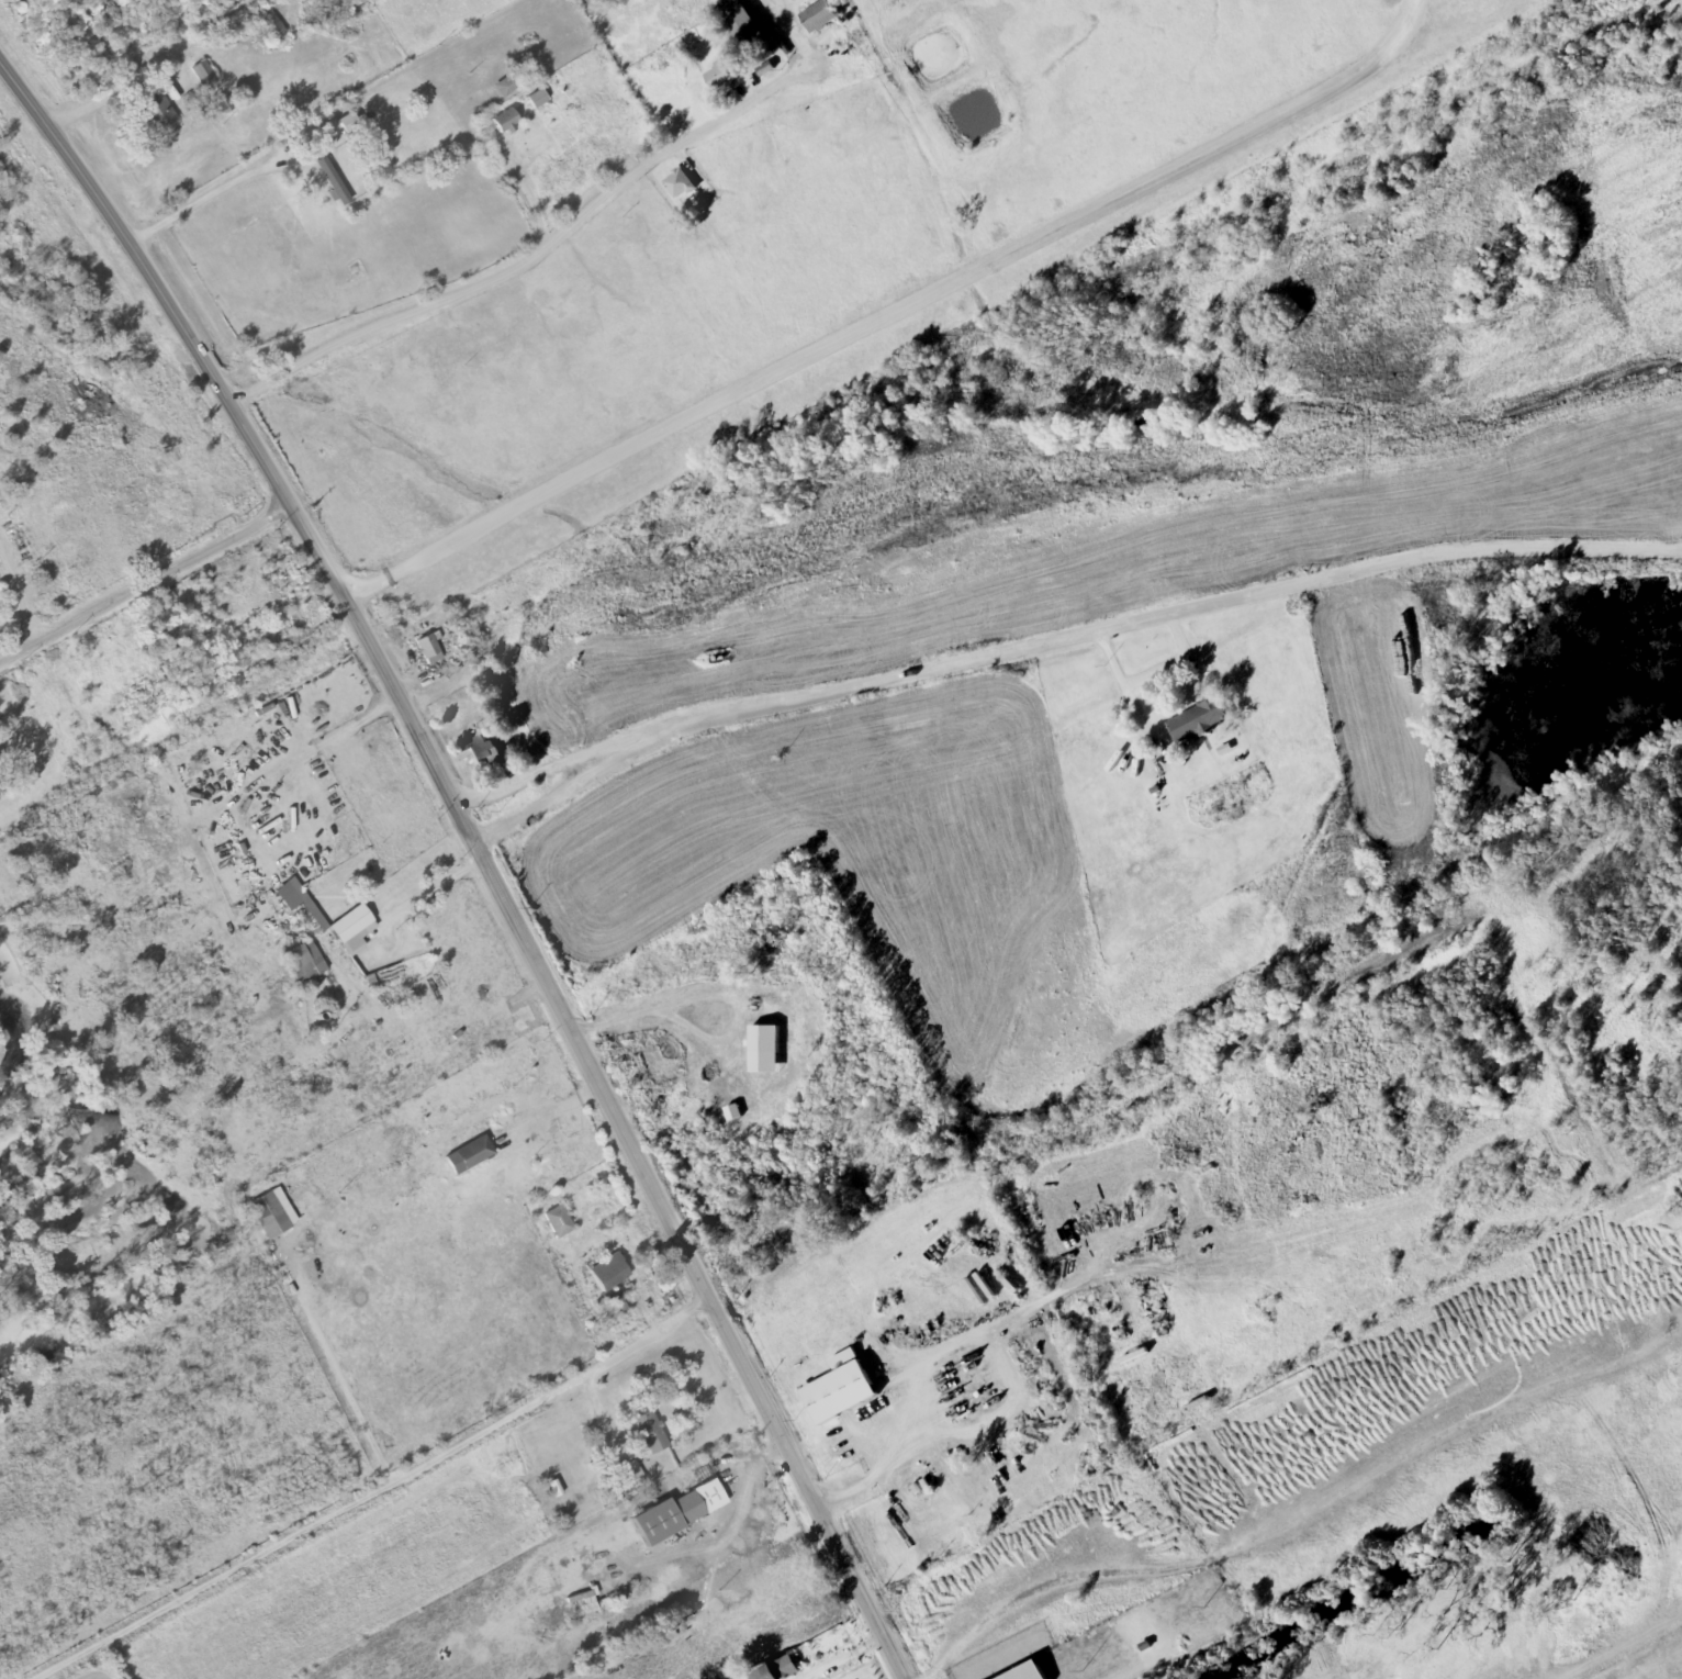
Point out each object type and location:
building: (597, 2)
building: (818, 16)
building: (741, 24)
building: (271, 26)
building: (203, 72)
building: (718, 77)
building: (506, 86)
building: (536, 99)
building: (225, 101)
building: (159, 115)
road: (63, 116)
building: (505, 121)
building: (466, 170)
building: (326, 172)
building: (679, 184)
road: (536, 259)
road: (147, 592)
road: (1057, 639)
building: (429, 649)
building: (1198, 720)
building: (480, 753)
road: (478, 857)
building: (309, 907)
building: (305, 965)
building: (469, 1155)
building: (558, 1221)
building: (609, 1273)
building: (839, 1392)
building: (650, 1432)
road: (377, 1493)
building: (677, 1511)
building: (582, 1603)
building: (1137, 1630)
road: (1627, 1649)
building: (777, 1670)

